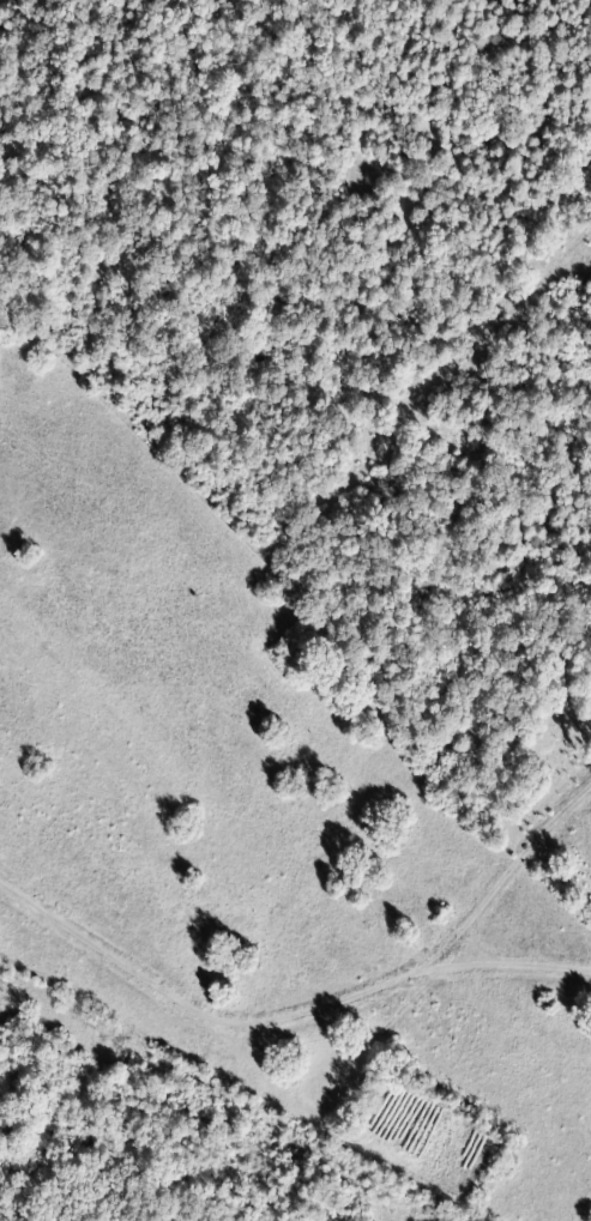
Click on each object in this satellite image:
road: (320, 1008)

